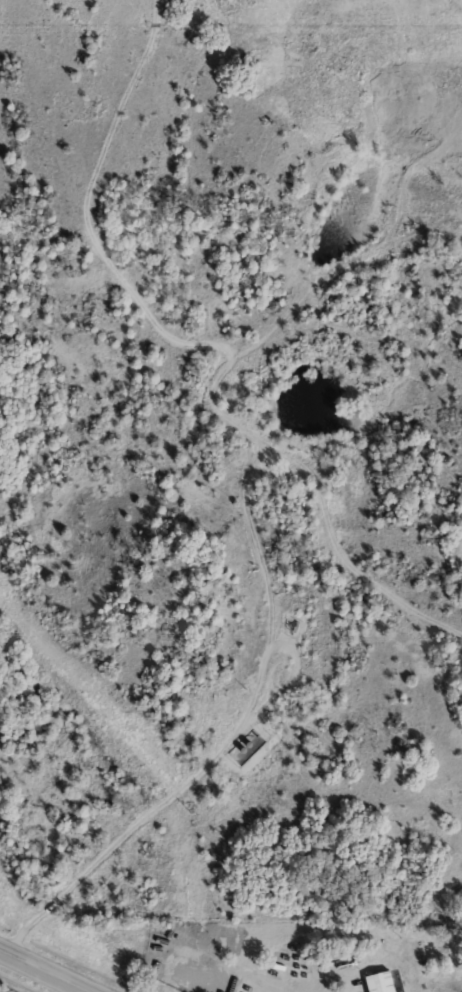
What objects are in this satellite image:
road: (199, 767)
road: (43, 971)
building: (384, 982)

